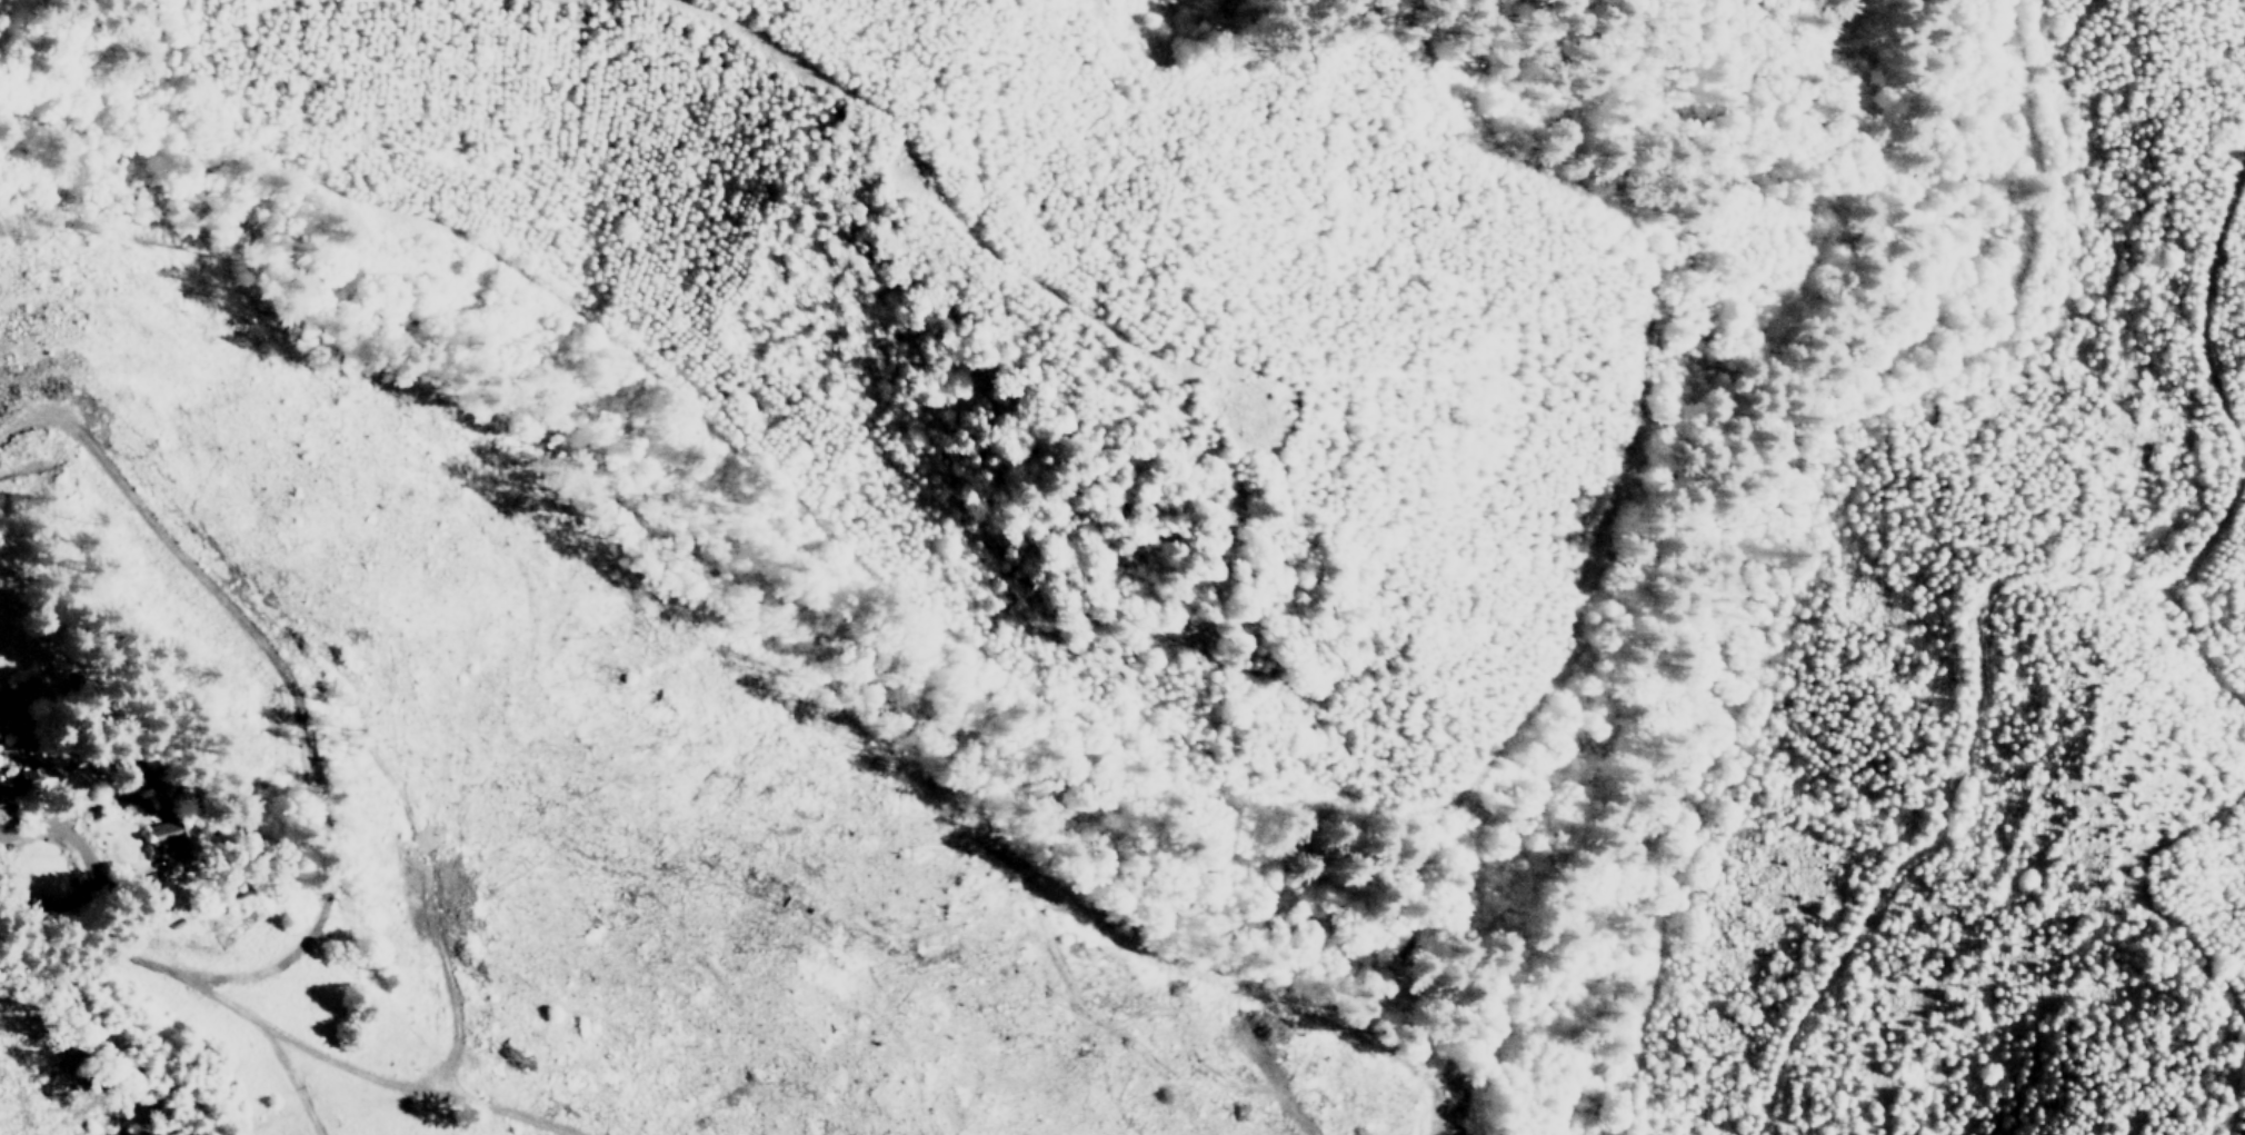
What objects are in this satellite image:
road: (2209, 310)
road: (1805, 528)
road: (1973, 733)
road: (90, 884)

